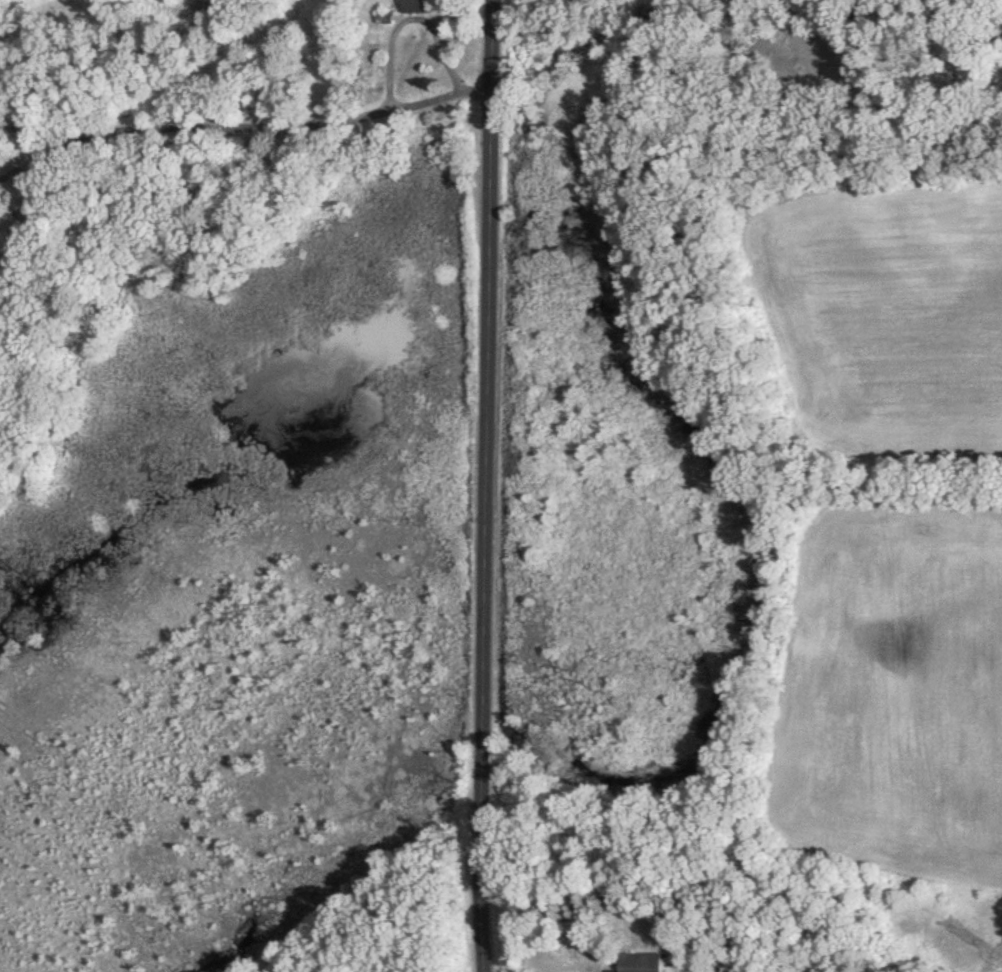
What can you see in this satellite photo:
building: (418, 6)
road: (407, 18)
road: (245, 132)
road: (490, 485)
building: (643, 962)

